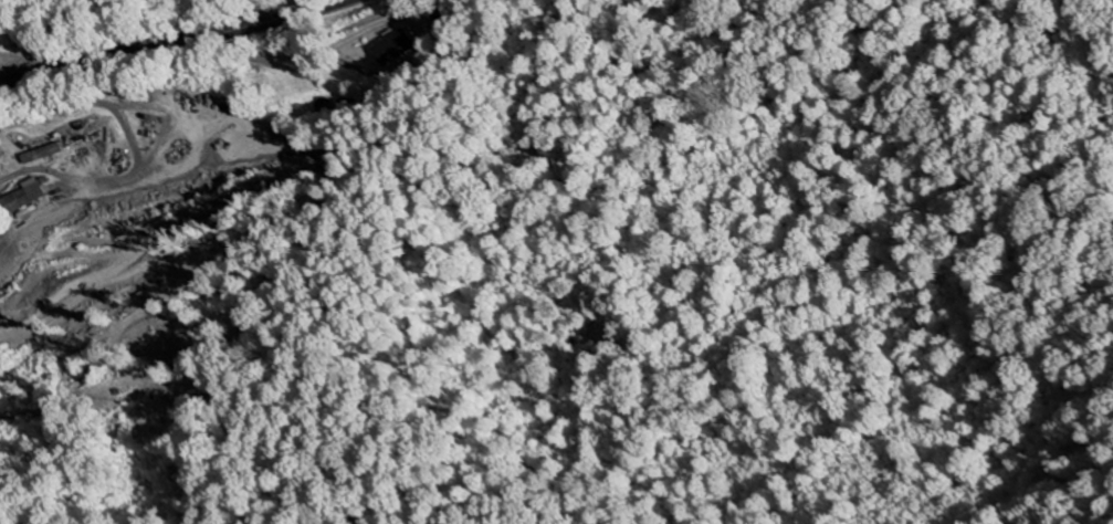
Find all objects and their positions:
road: (169, 44)
building: (396, 48)
building: (24, 196)

